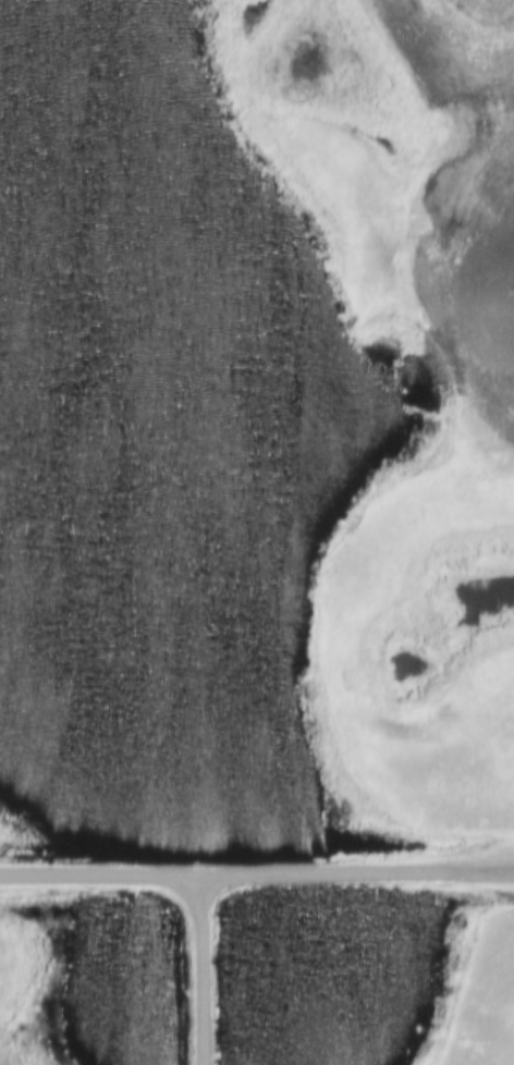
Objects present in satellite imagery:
road: (355, 877)
road: (98, 881)
road: (207, 971)

